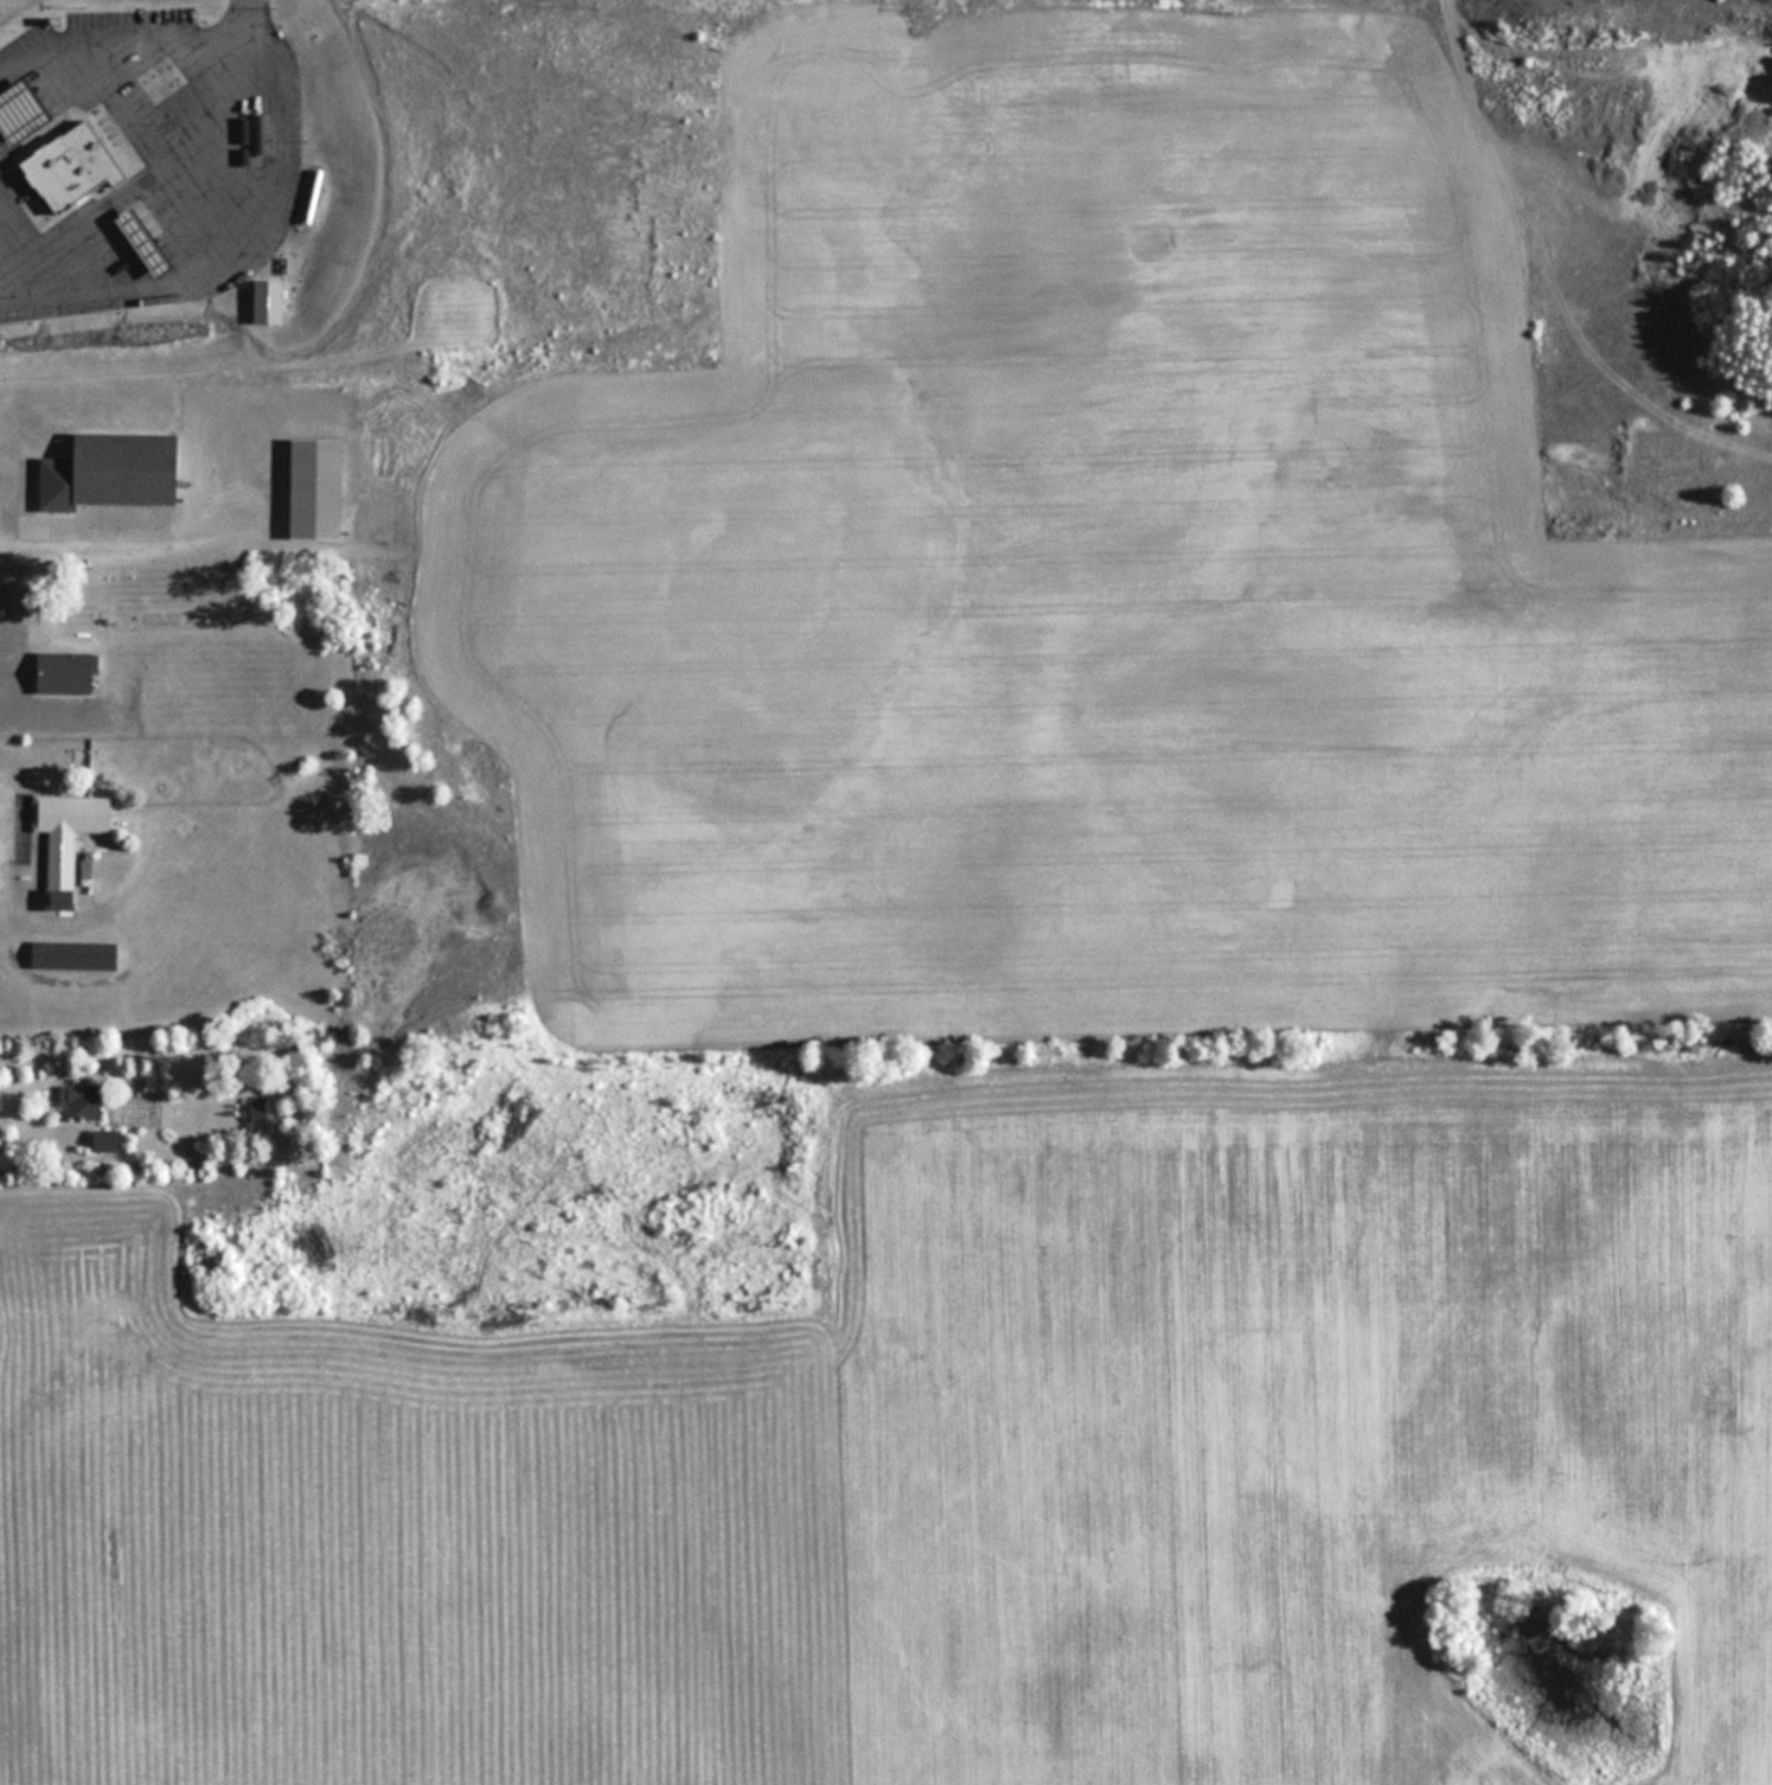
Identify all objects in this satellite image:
building: (443, 90)
building: (20, 108)
building: (258, 146)
road: (153, 156)
building: (70, 162)
building: (410, 193)
building: (322, 205)
building: (142, 238)
building: (117, 472)
building: (319, 490)
road: (109, 544)
building: (70, 672)
building: (68, 840)
road: (34, 917)
building: (73, 954)
road: (27, 1076)
building: (84, 1101)

